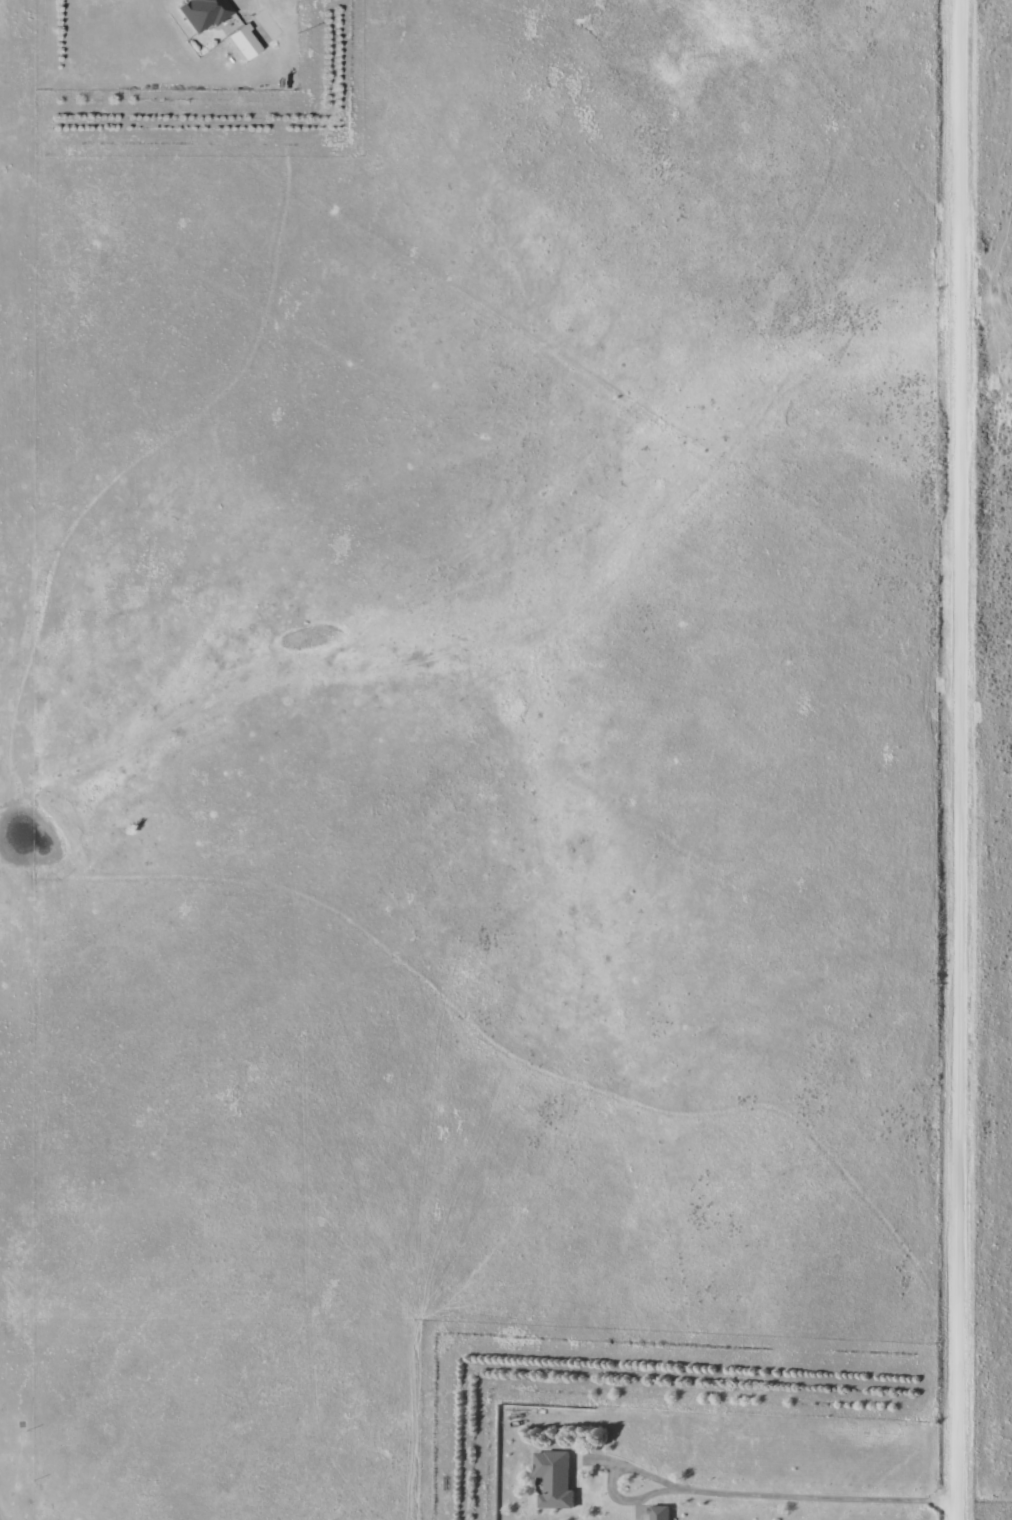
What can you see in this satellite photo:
building: (256, 34)
road: (960, 760)
building: (554, 1478)
building: (660, 1512)

